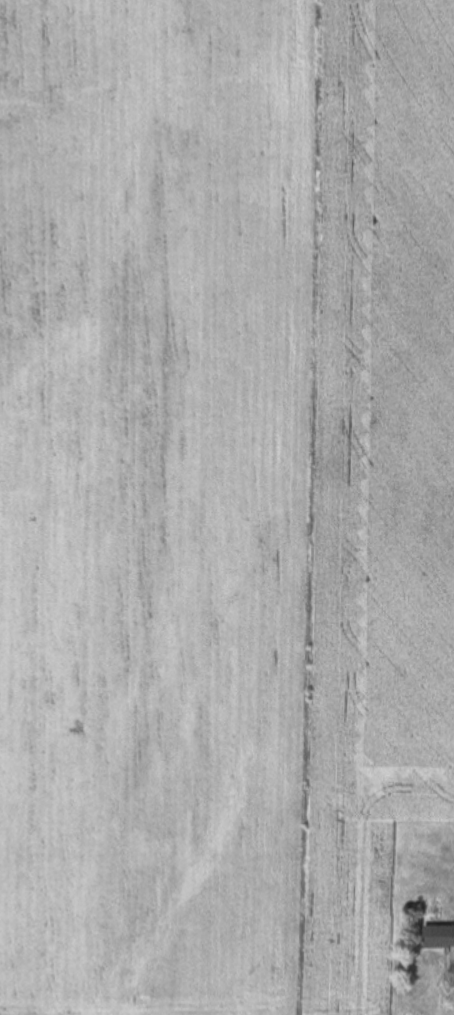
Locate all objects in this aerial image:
building: (438, 937)
road: (453, 968)

